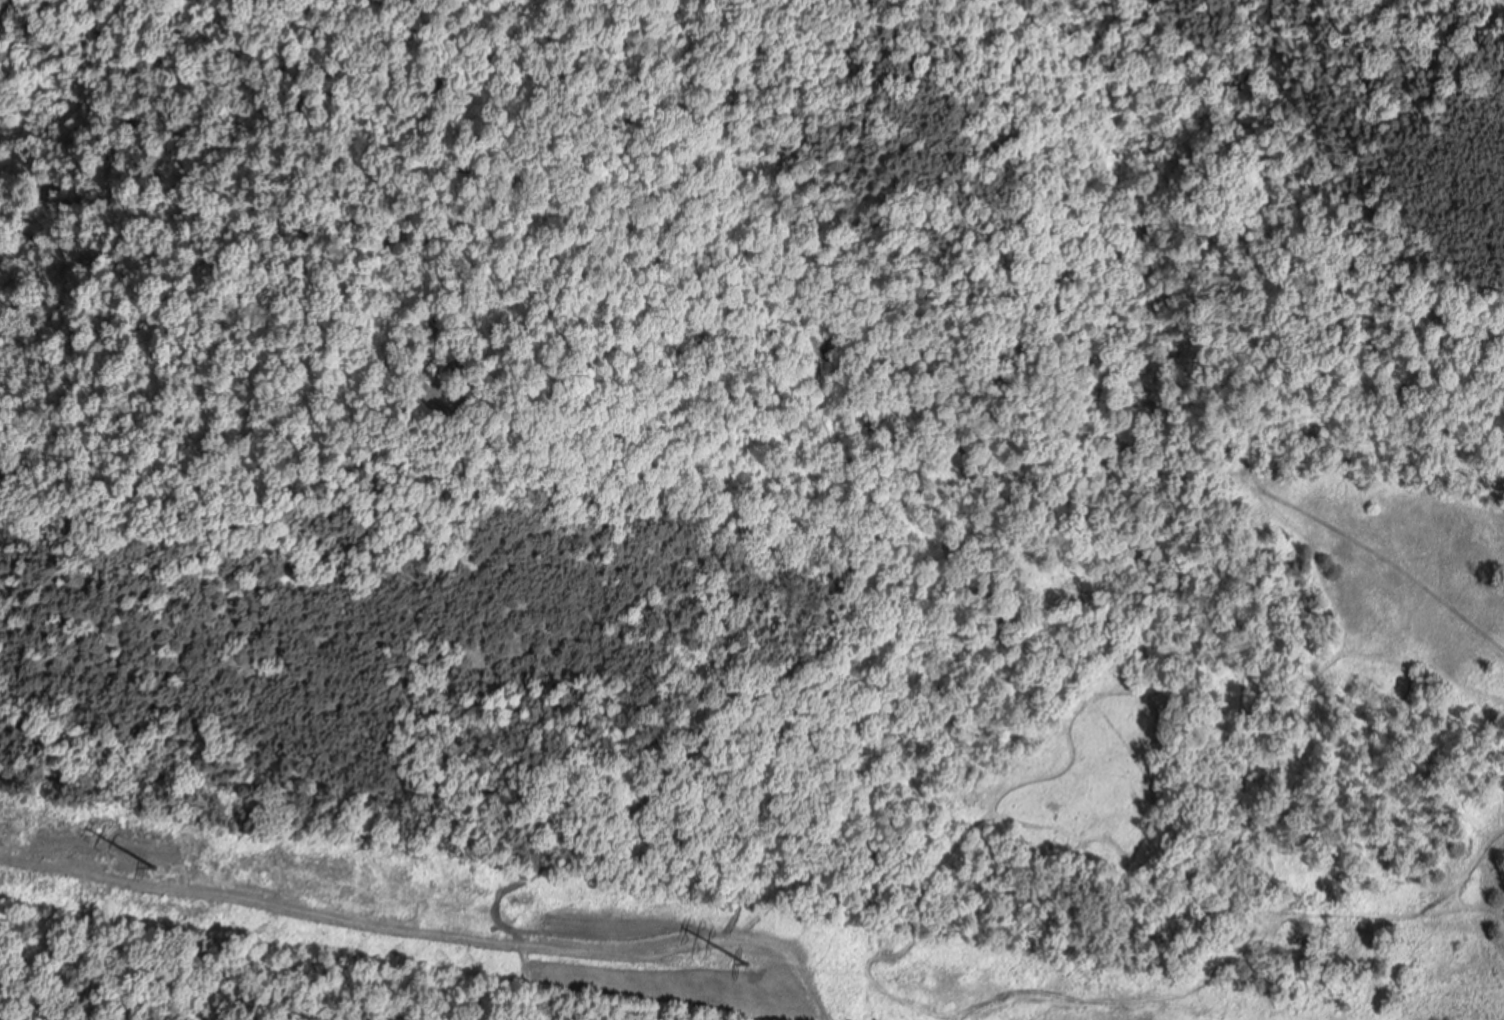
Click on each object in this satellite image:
power tower: (153, 862)
power tower: (747, 957)

